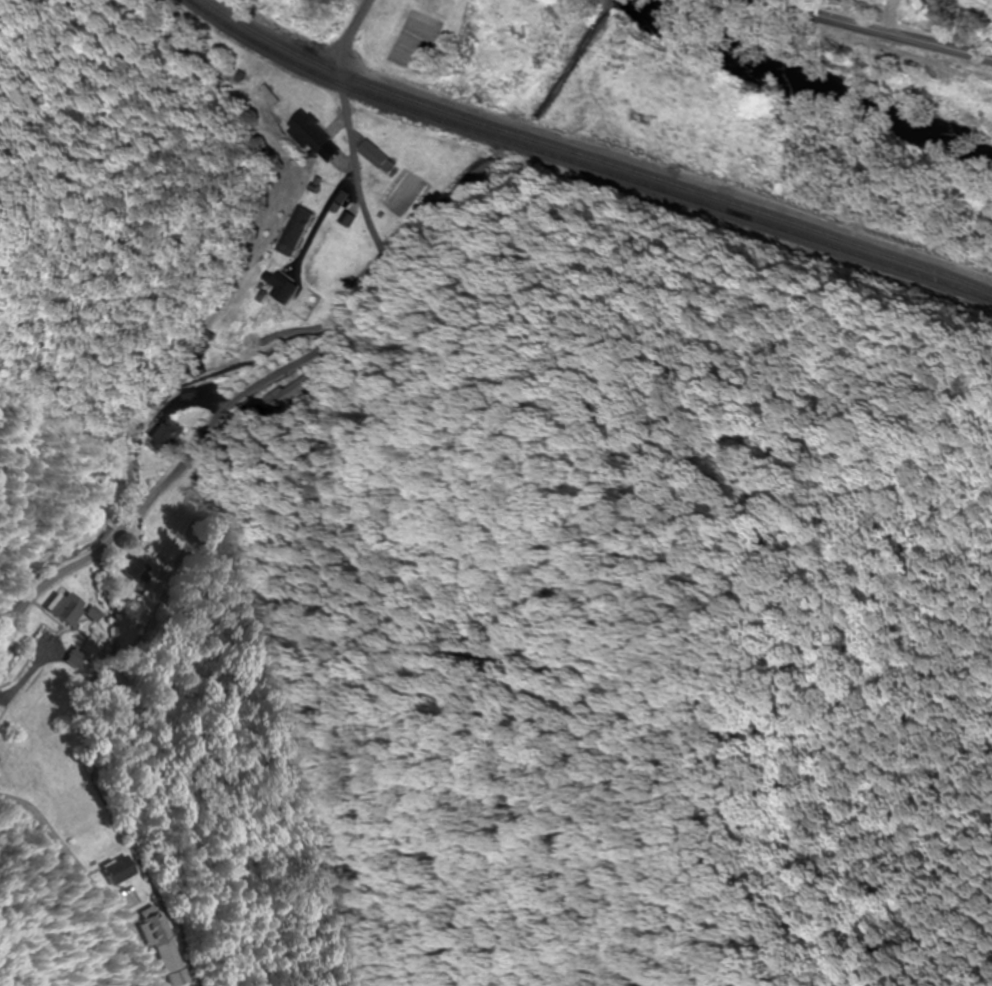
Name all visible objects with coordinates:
building: (941, 6)
road: (886, 12)
building: (317, 13)
road: (884, 29)
river: (813, 83)
building: (311, 137)
building: (377, 156)
railway: (591, 162)
road: (665, 176)
building: (294, 232)
building: (282, 289)
road: (301, 410)
building: (168, 436)
building: (94, 513)
building: (138, 570)
building: (68, 611)
building: (96, 615)
building: (76, 658)
building: (118, 870)

